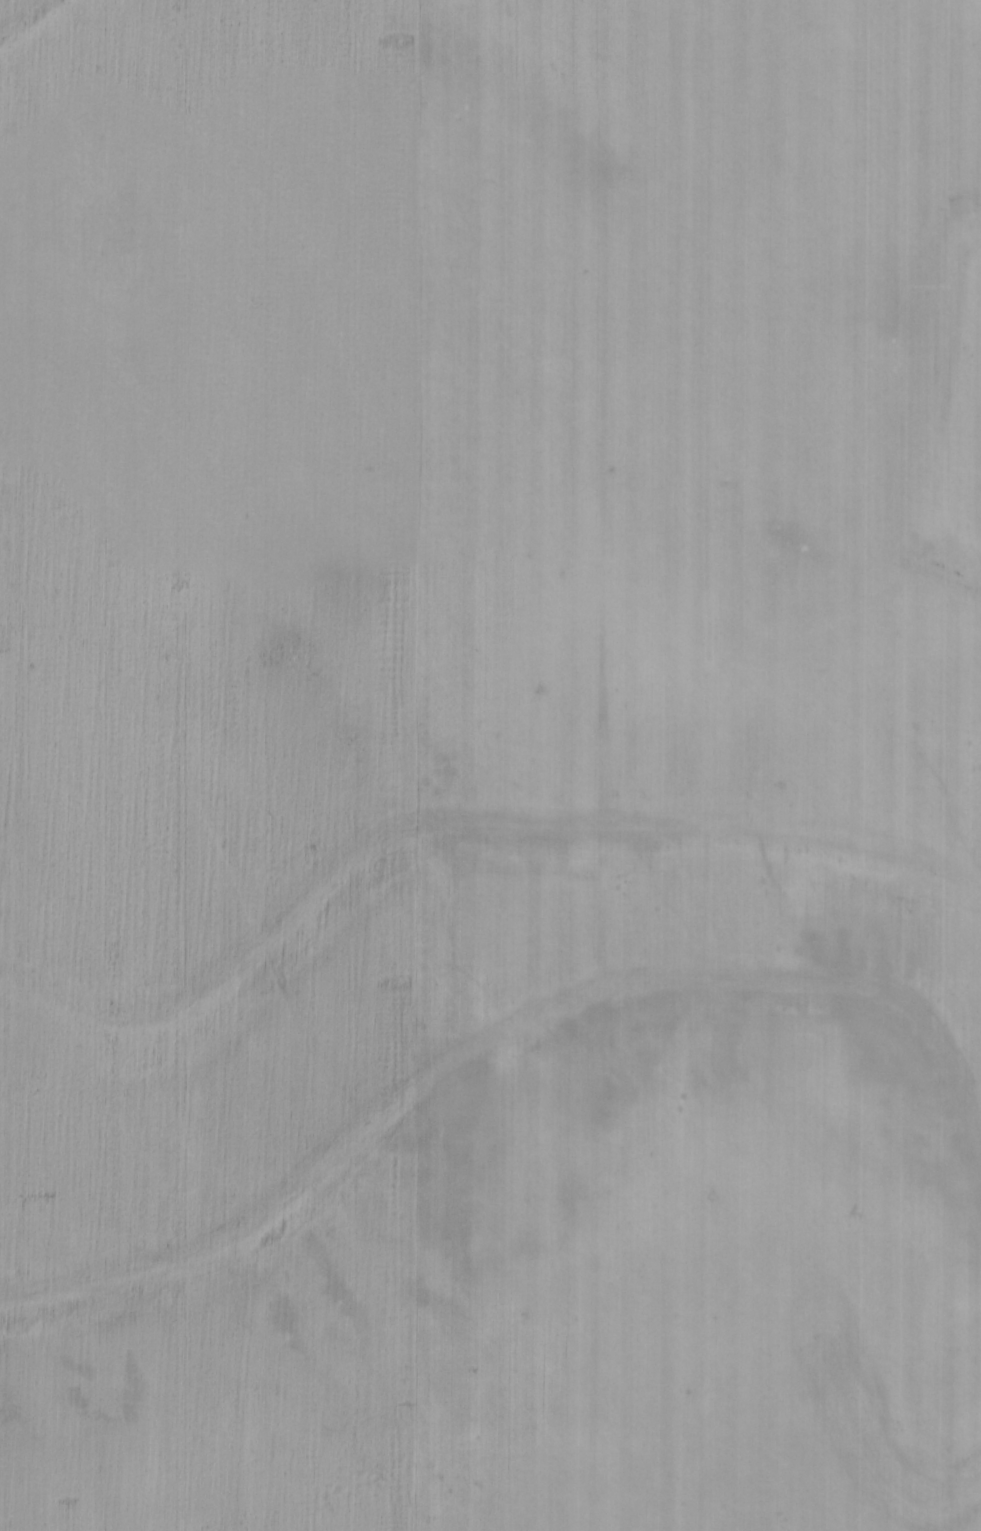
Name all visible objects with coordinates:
crop: (490, 765)

